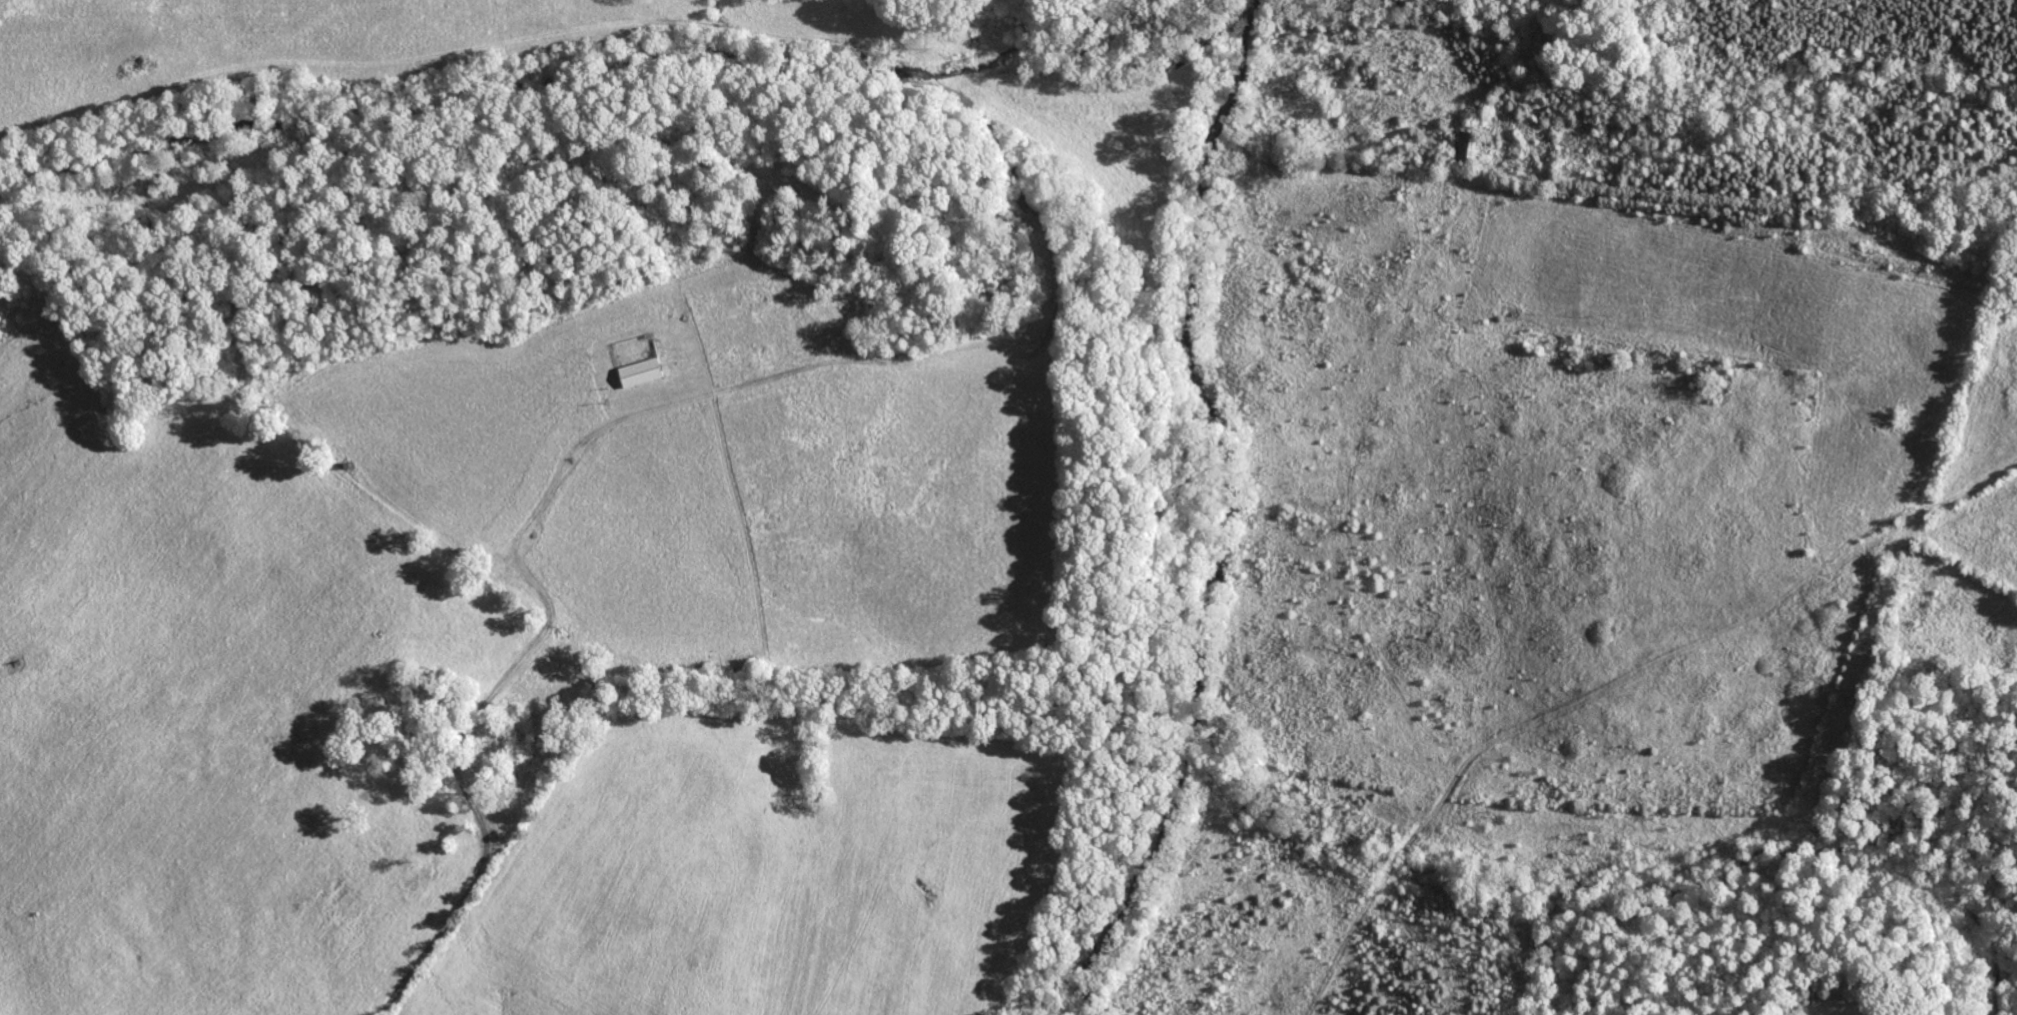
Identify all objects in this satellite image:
building: (1471, 148)
building: (642, 373)

